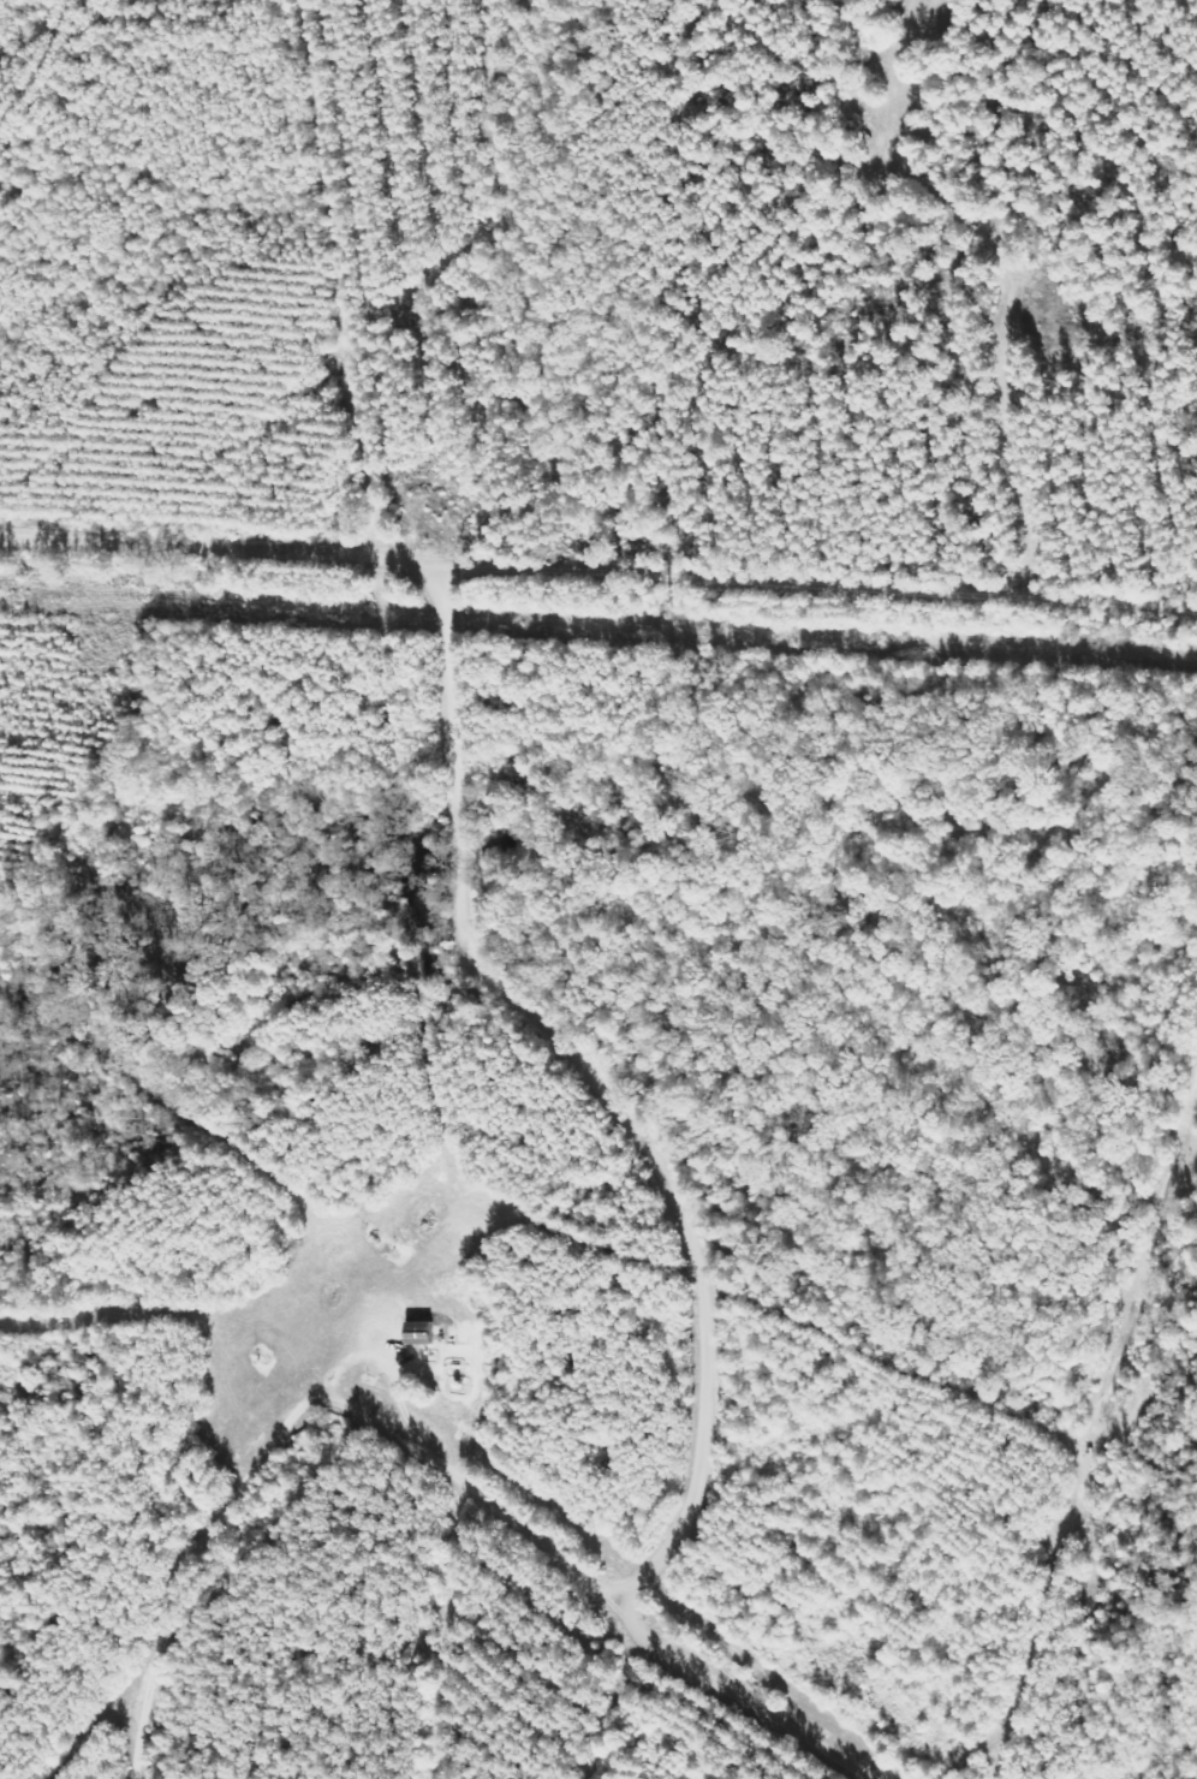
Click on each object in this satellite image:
road: (598, 566)
building: (416, 1331)
road: (424, 1451)

